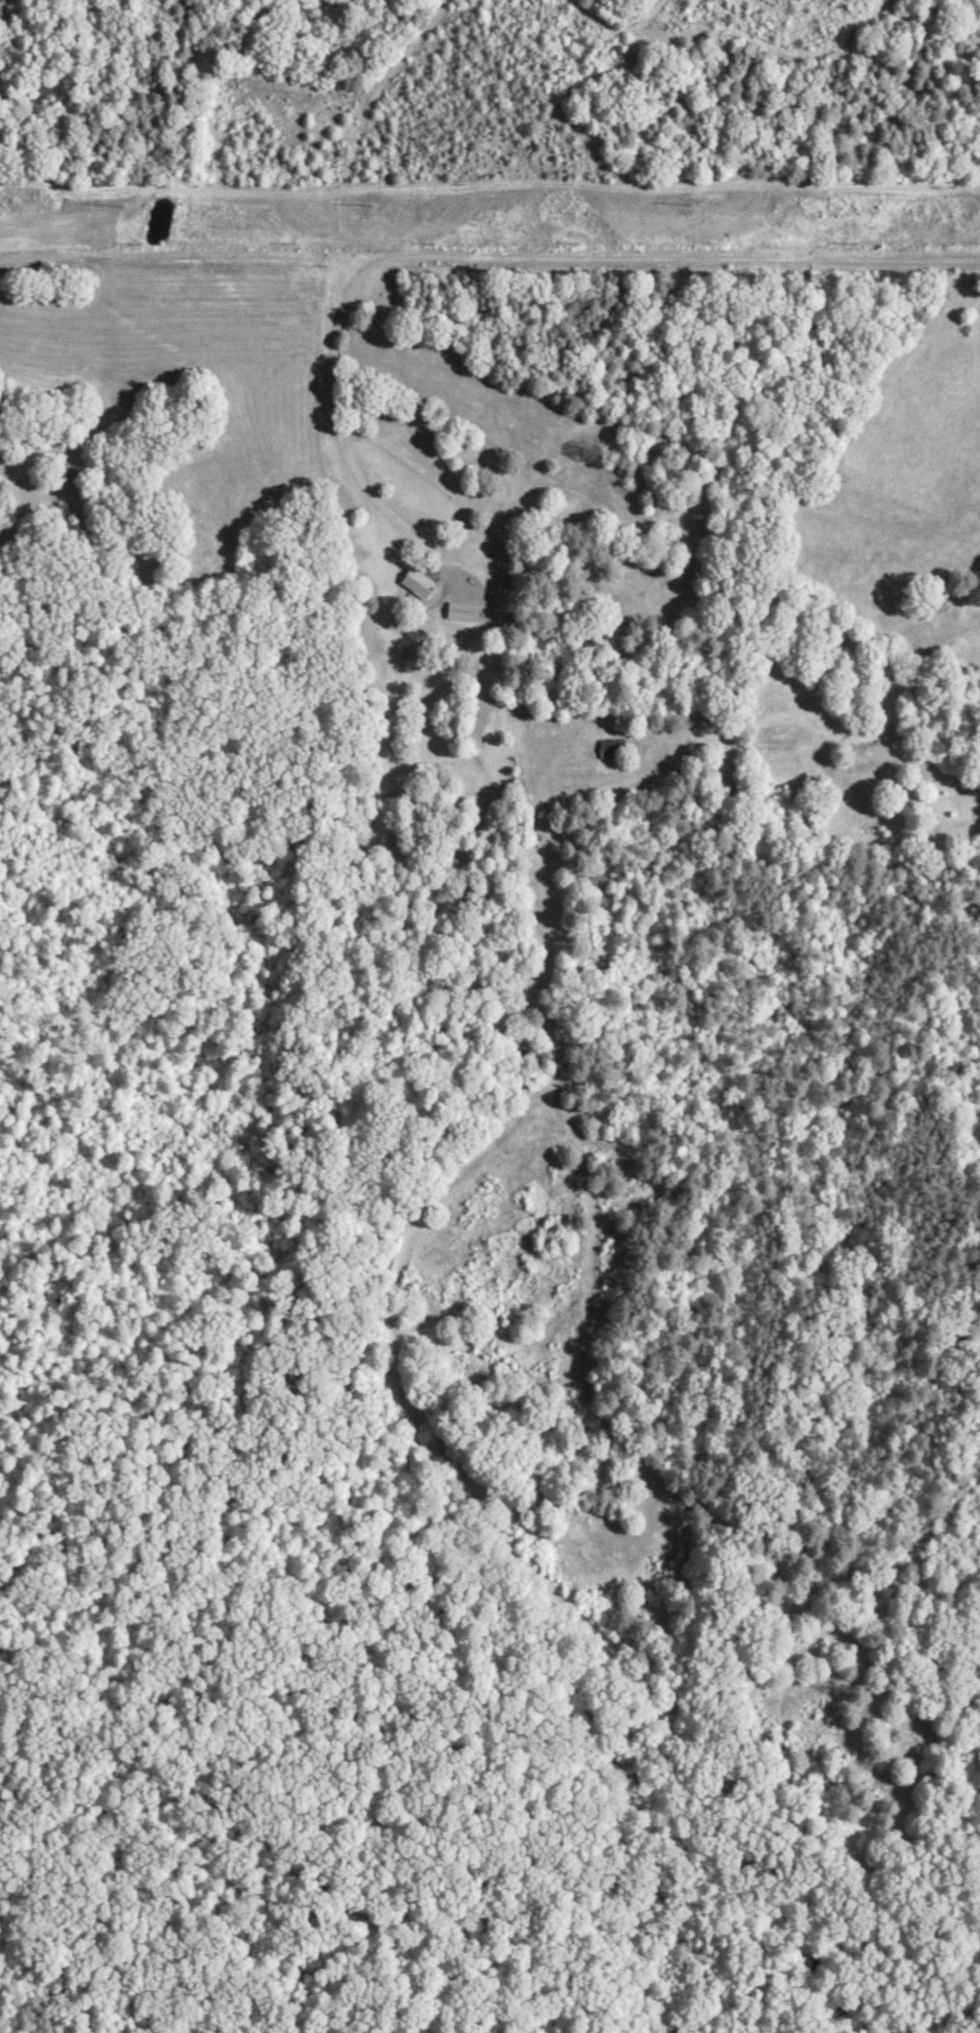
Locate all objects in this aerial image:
road: (483, 254)
building: (417, 580)
building: (463, 609)

